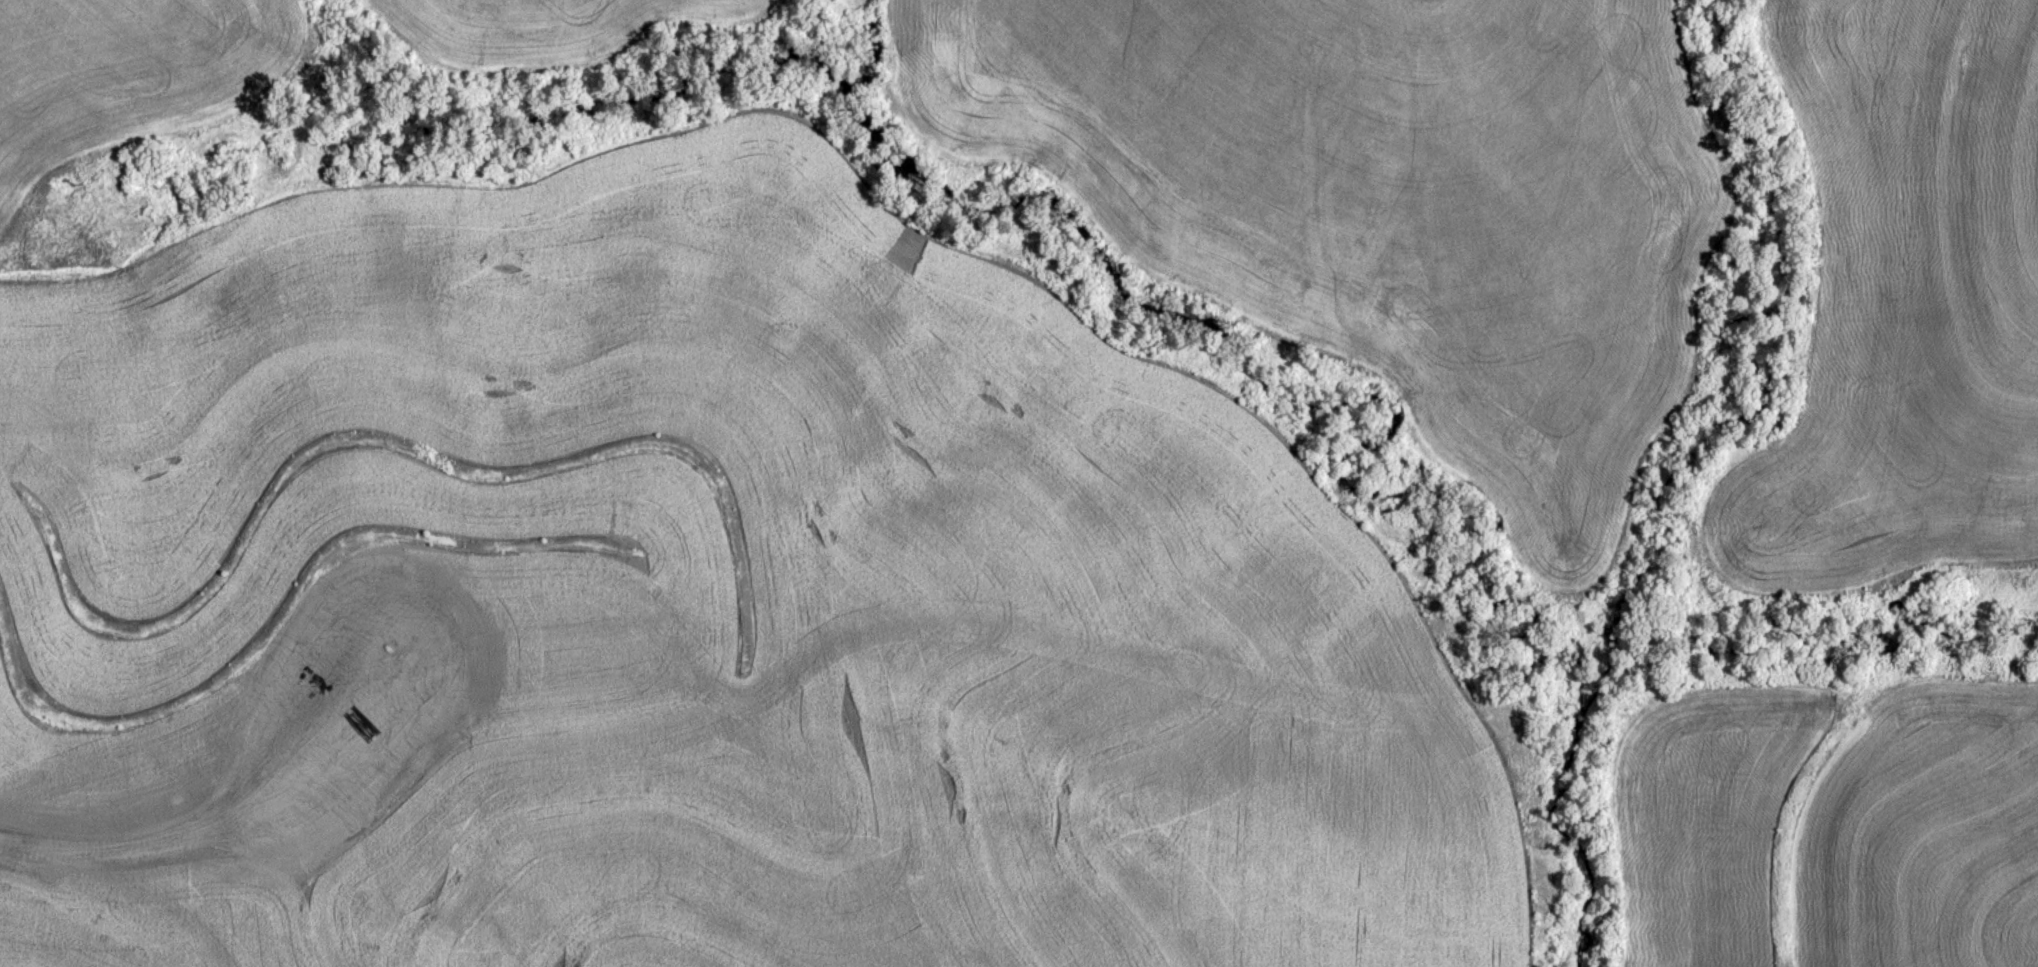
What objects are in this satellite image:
wind turbine: (380, 639)

